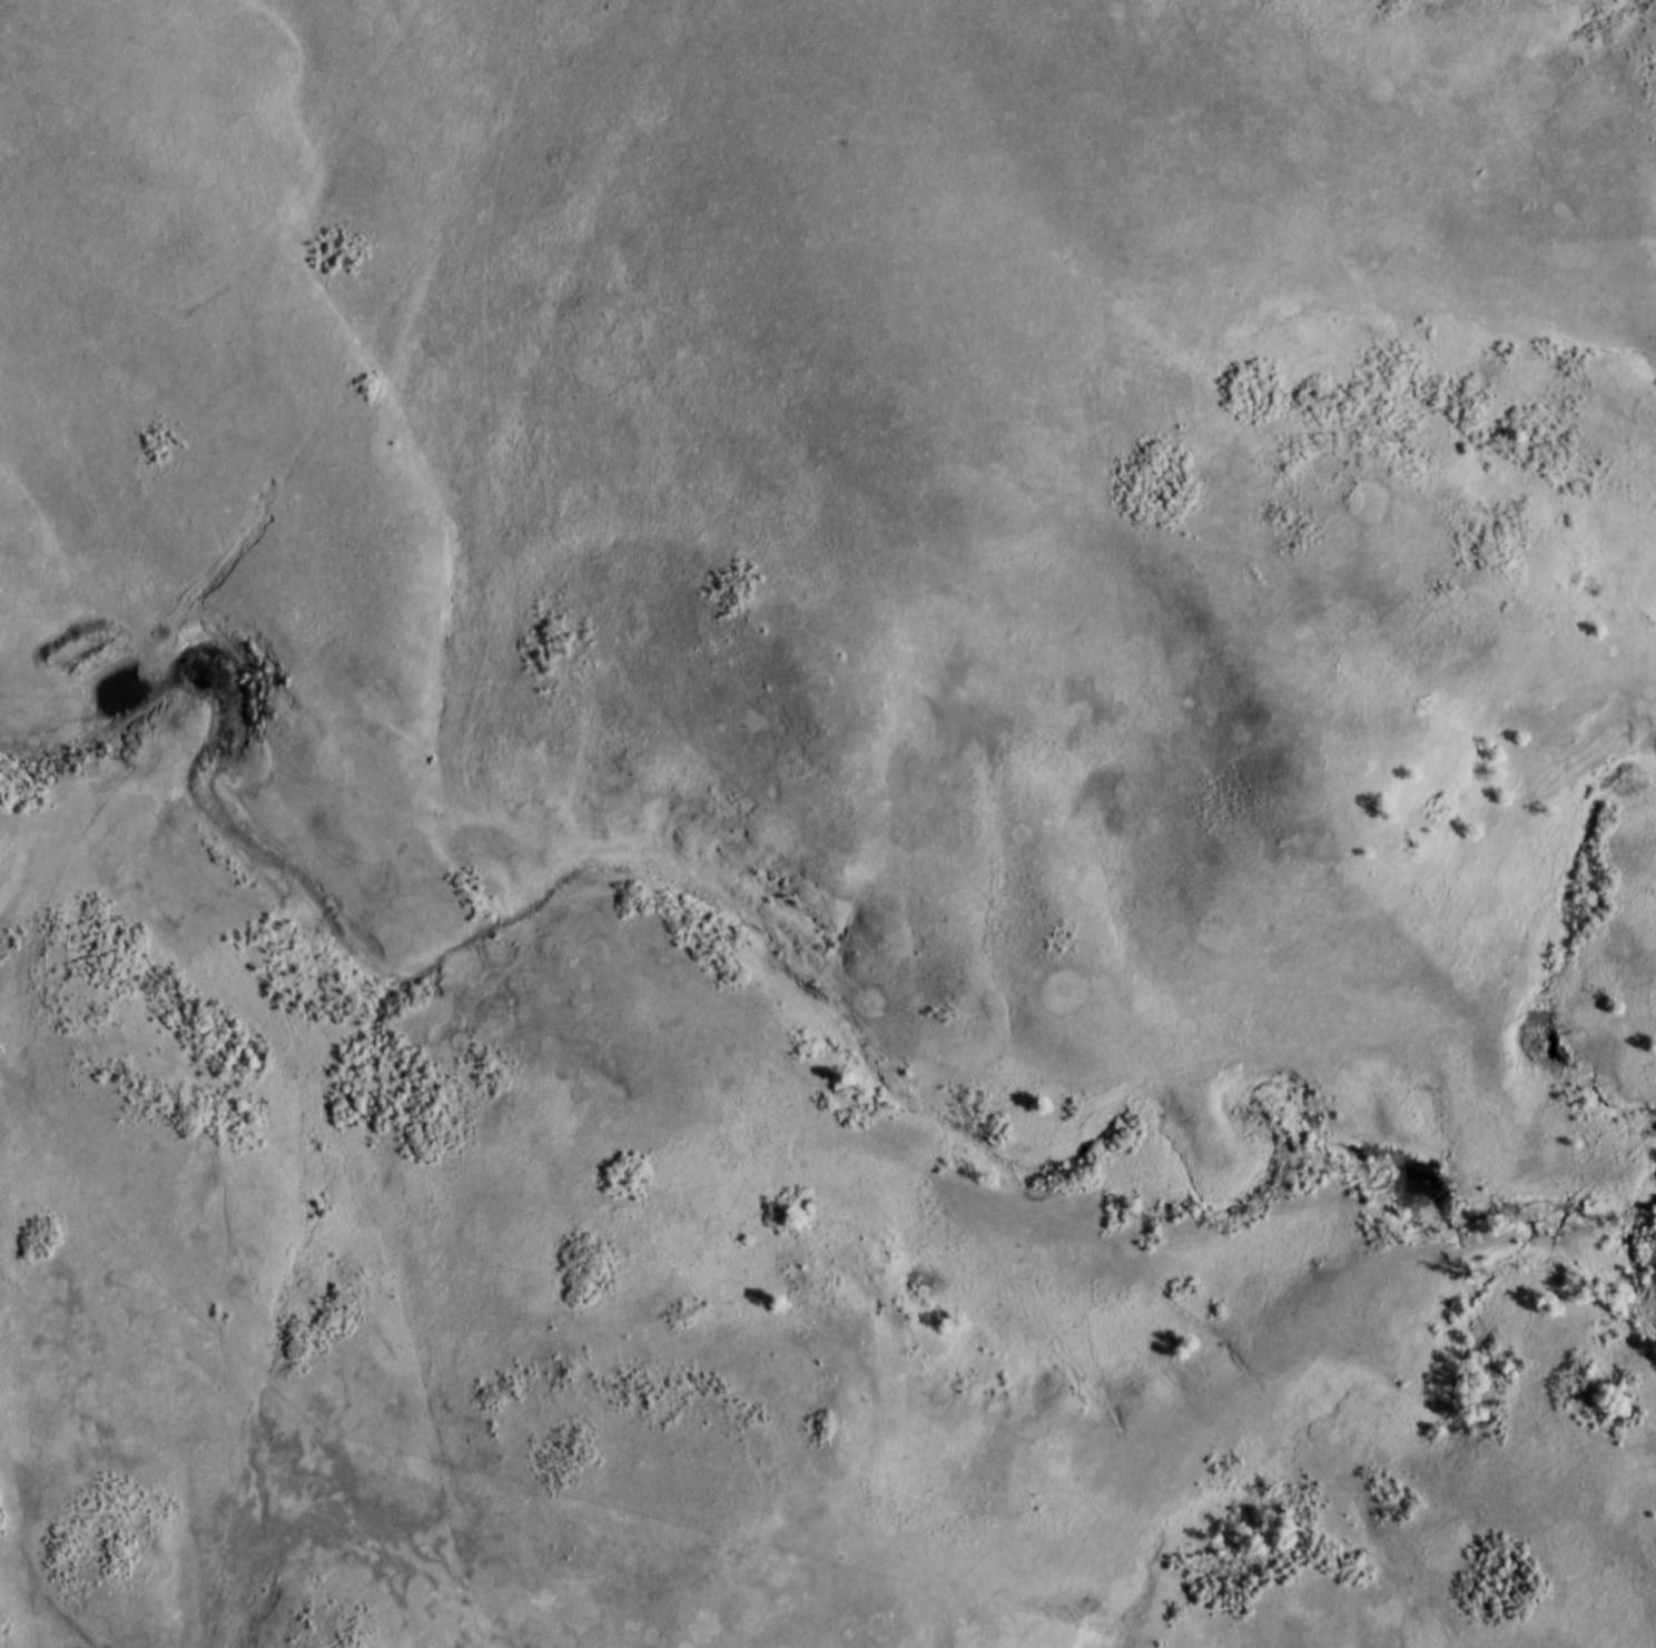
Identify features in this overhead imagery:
road: (26, 1562)

